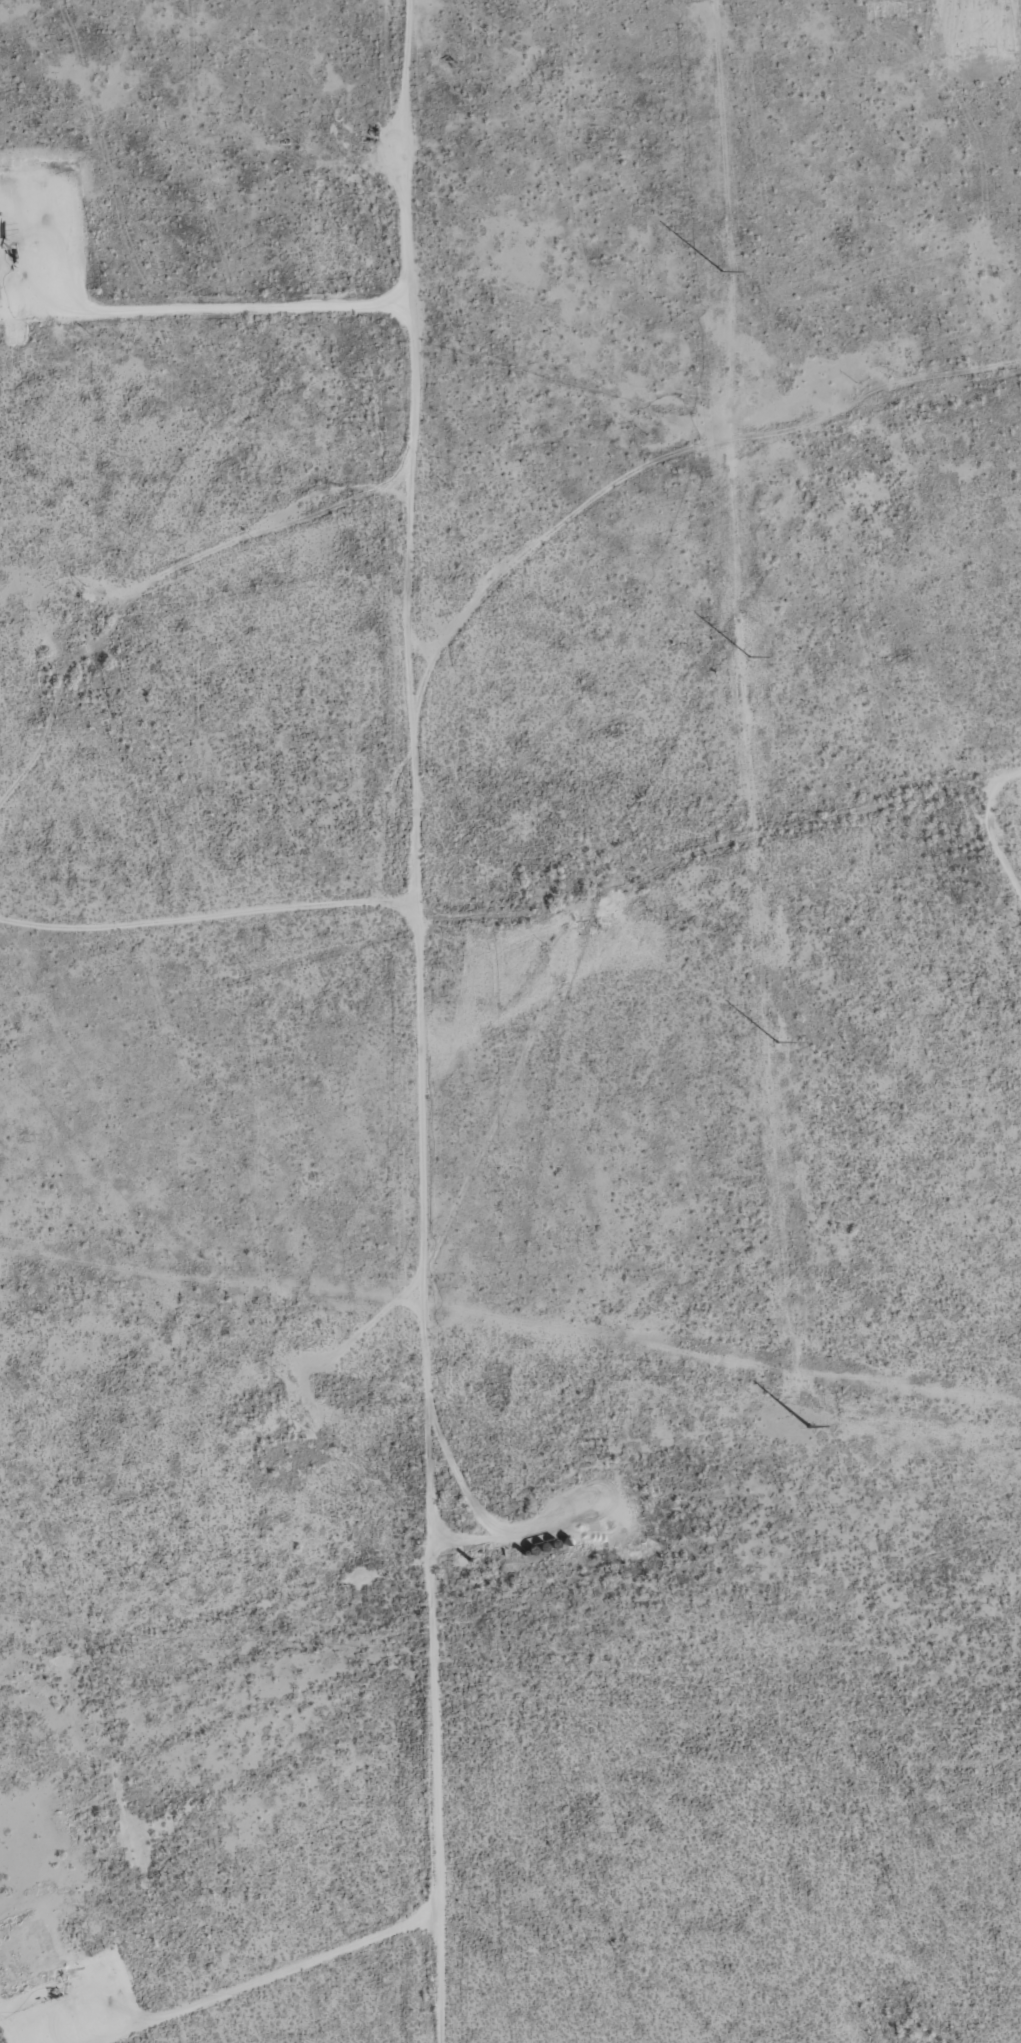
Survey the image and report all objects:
power tower: (722, 271)
power tower: (751, 656)
road: (193, 915)
road: (392, 1021)
power tower: (777, 1040)
power tower: (811, 1425)

